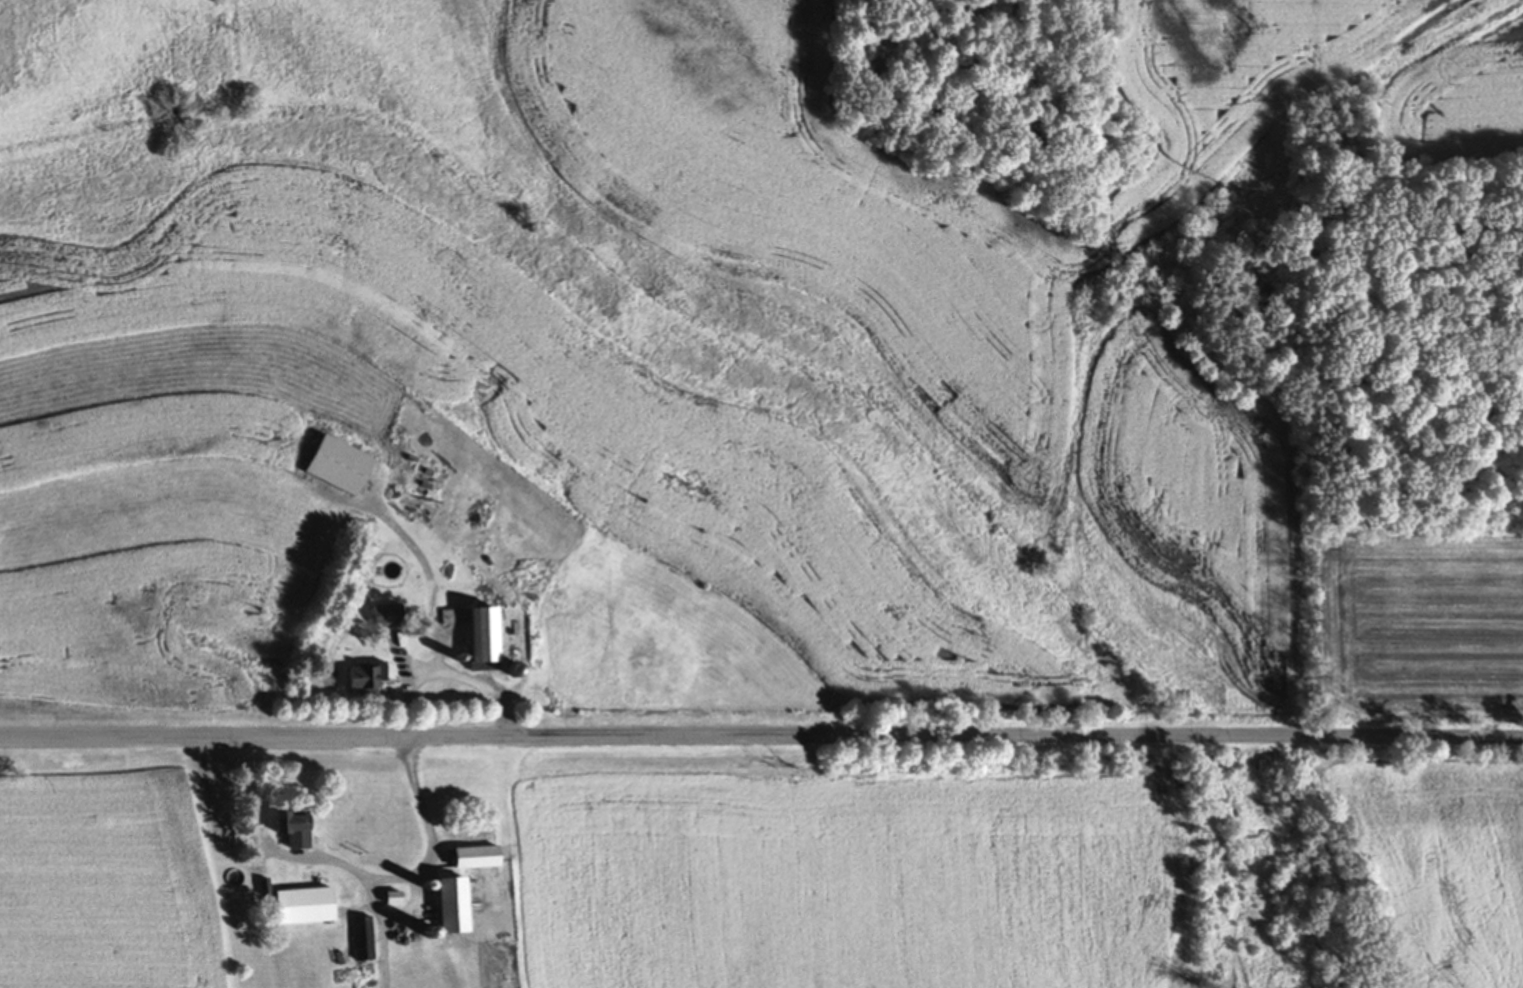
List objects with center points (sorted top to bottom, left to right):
building: (332, 466)
building: (387, 618)
building: (469, 634)
building: (511, 671)
road: (449, 676)
building: (358, 679)
road: (761, 738)
building: (285, 832)
building: (468, 859)
road: (339, 865)
building: (298, 908)
building: (442, 908)
road: (392, 916)
building: (358, 940)

